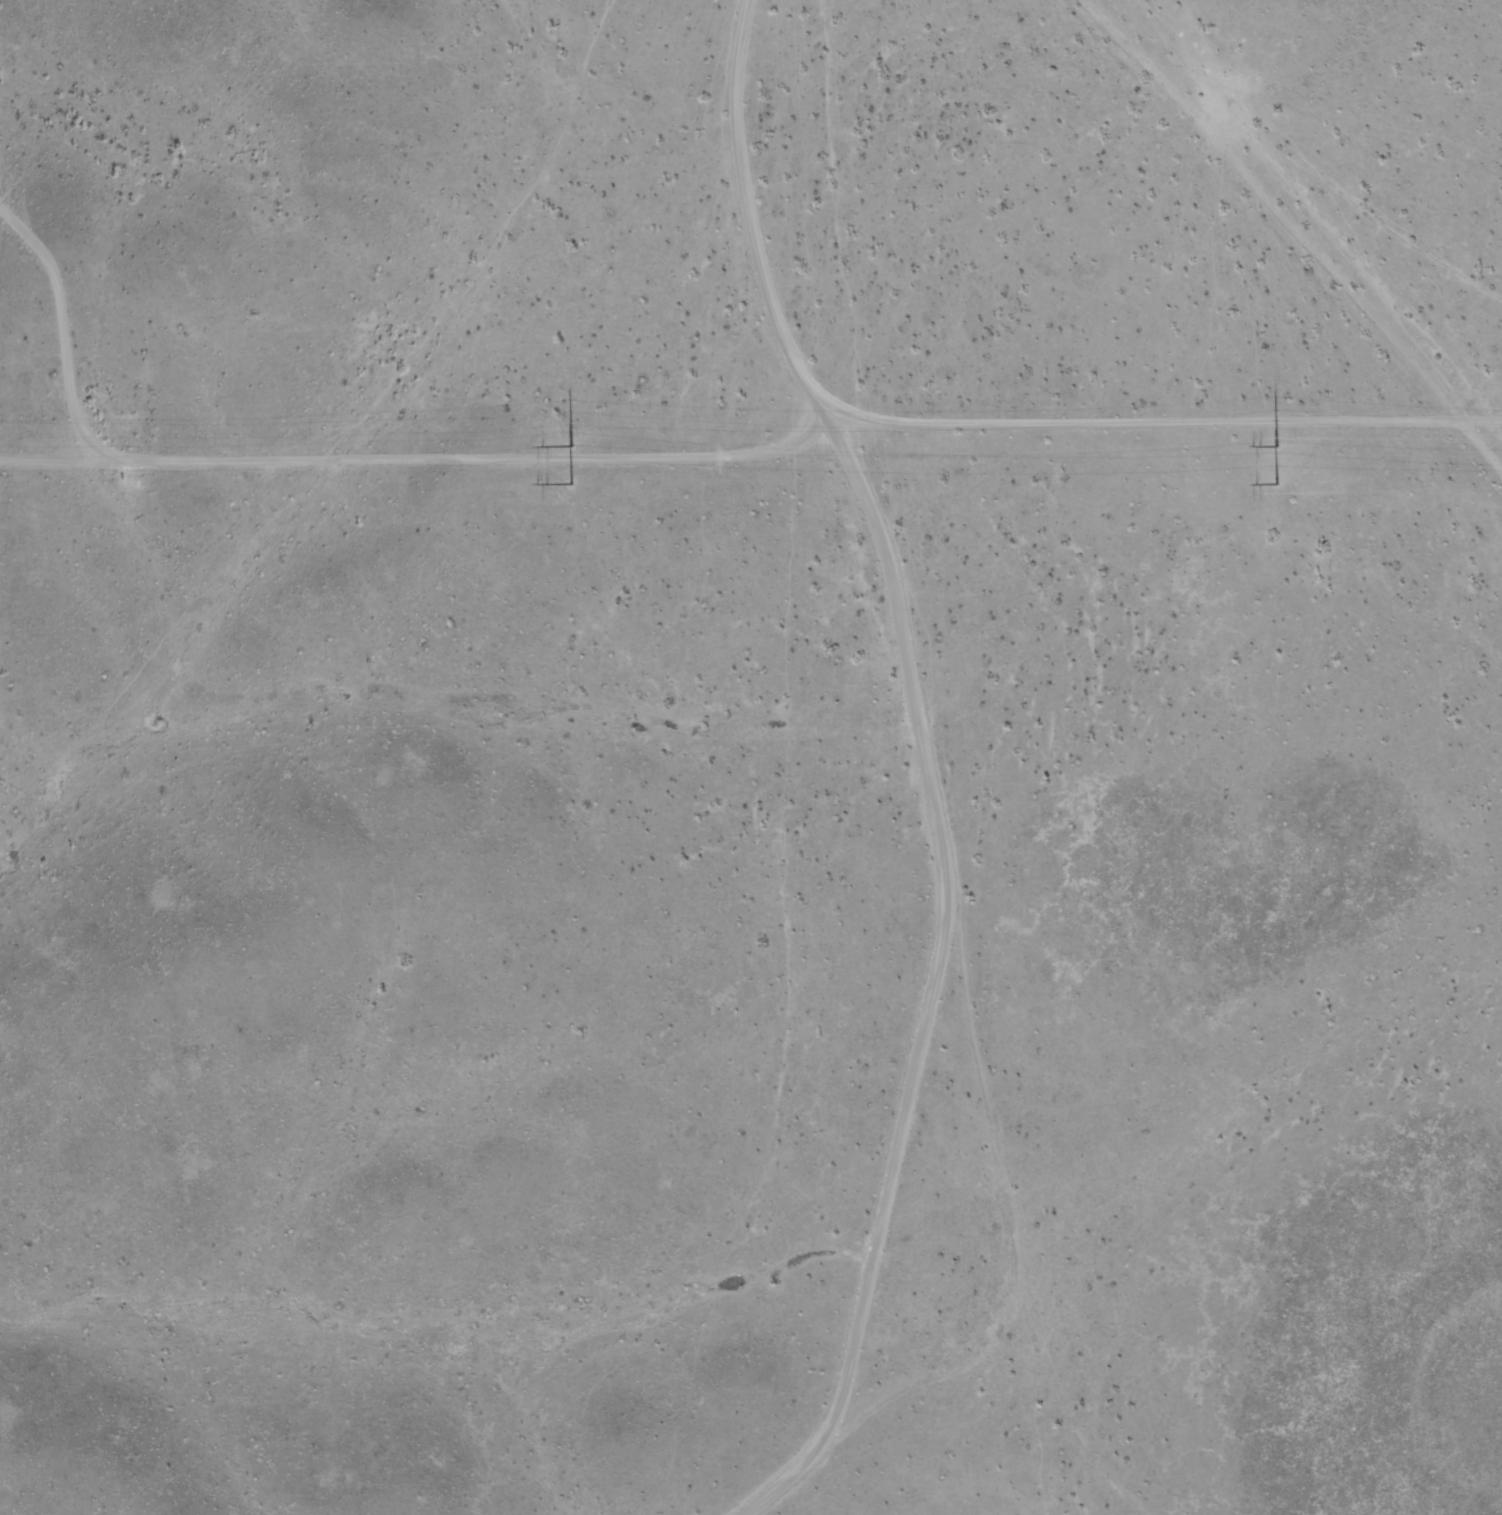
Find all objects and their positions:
road: (788, 247)
road: (1282, 249)
power tower: (1280, 468)
power tower: (575, 470)

